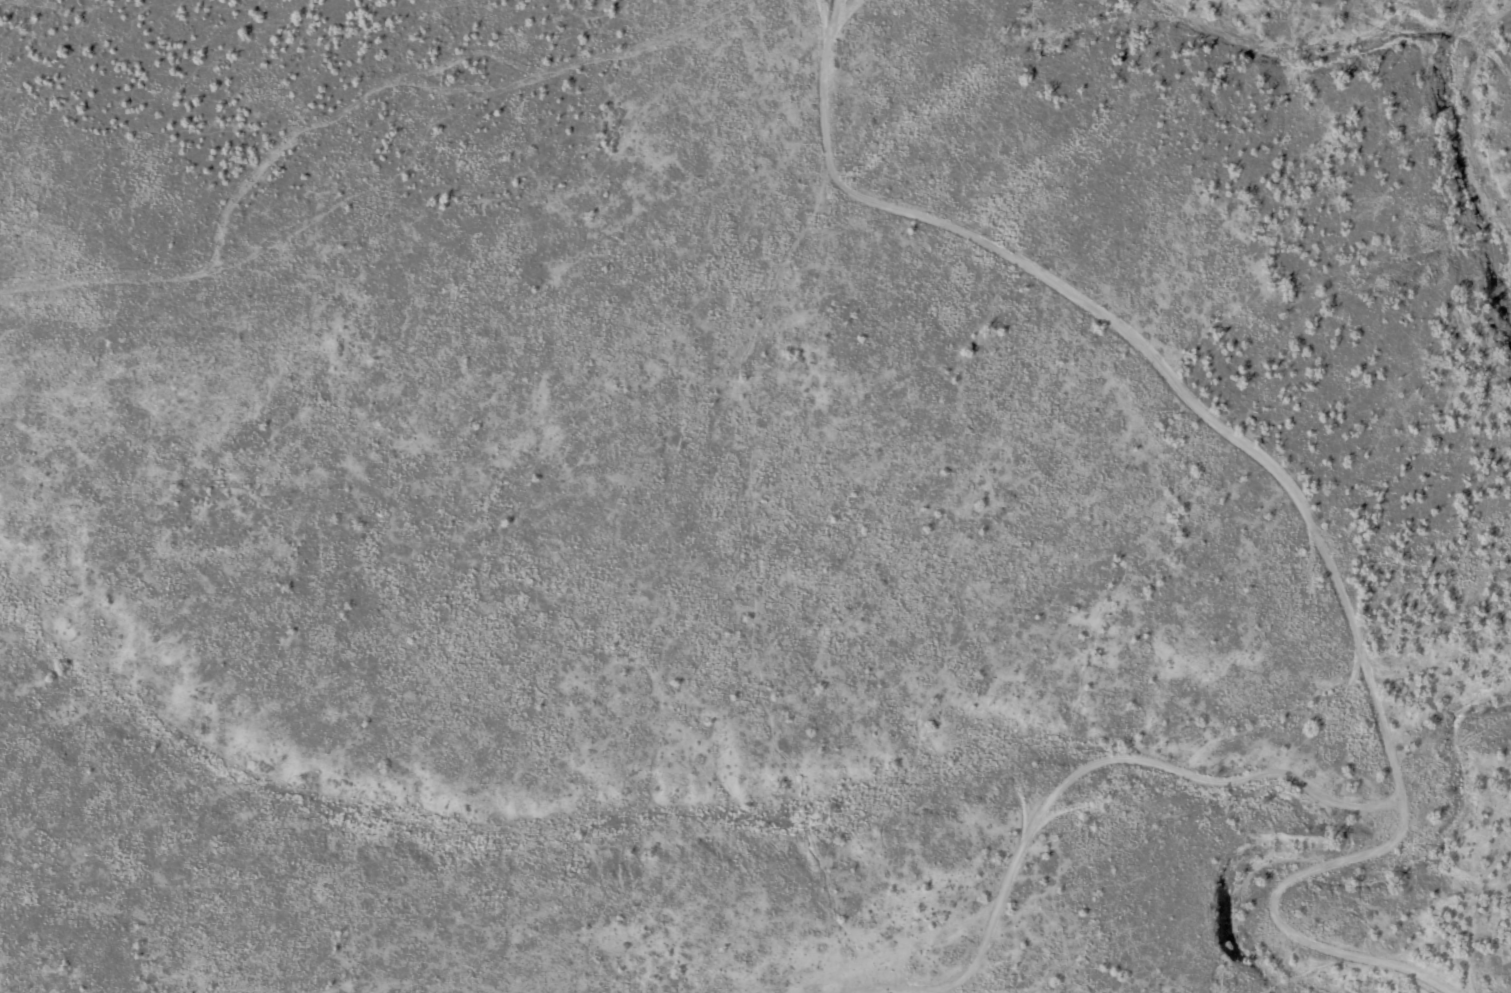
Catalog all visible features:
road: (1251, 451)

